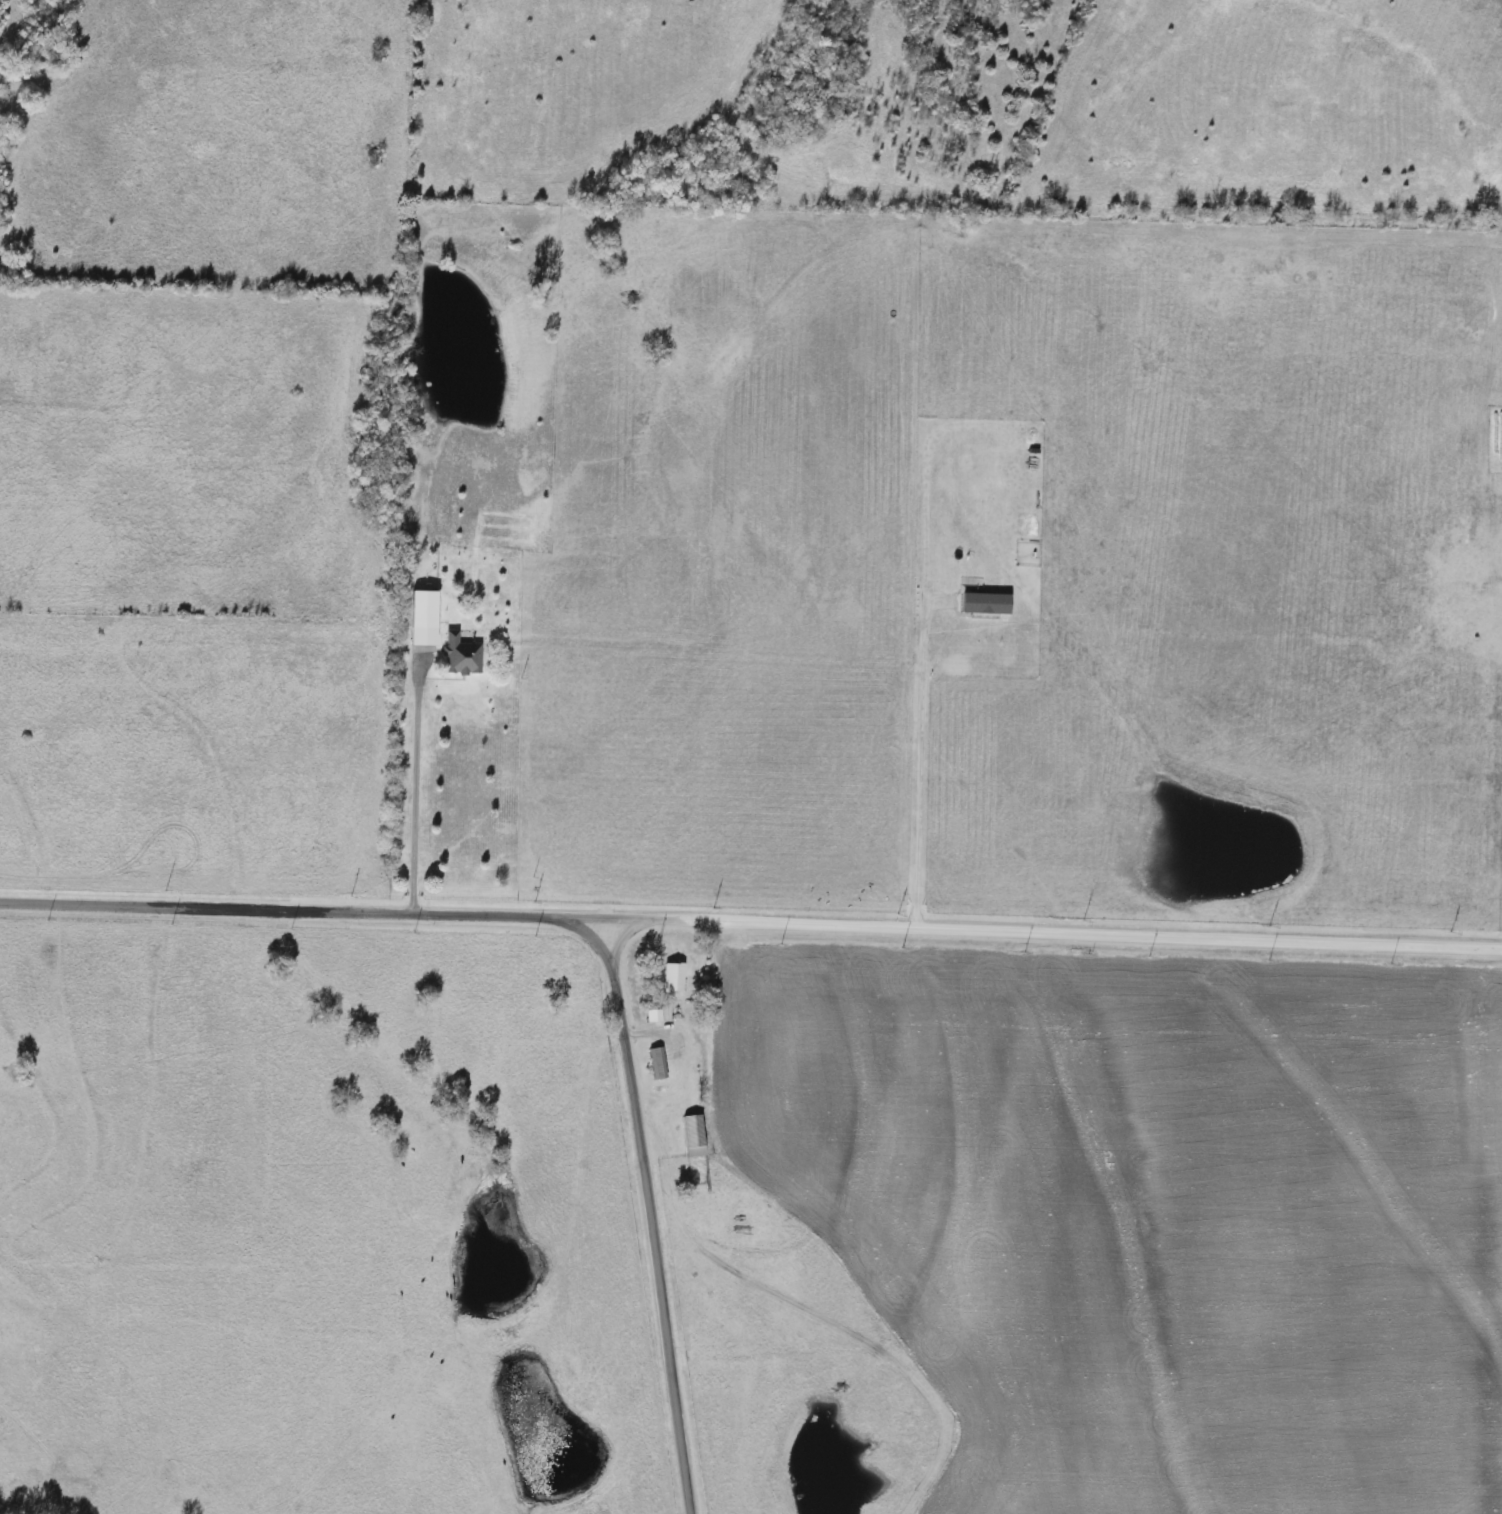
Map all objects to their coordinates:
building: (418, 618)
building: (459, 658)
road: (910, 766)
road: (417, 783)
road: (751, 922)
building: (671, 979)
building: (653, 1015)
building: (654, 1064)
building: (691, 1136)
road: (648, 1215)

